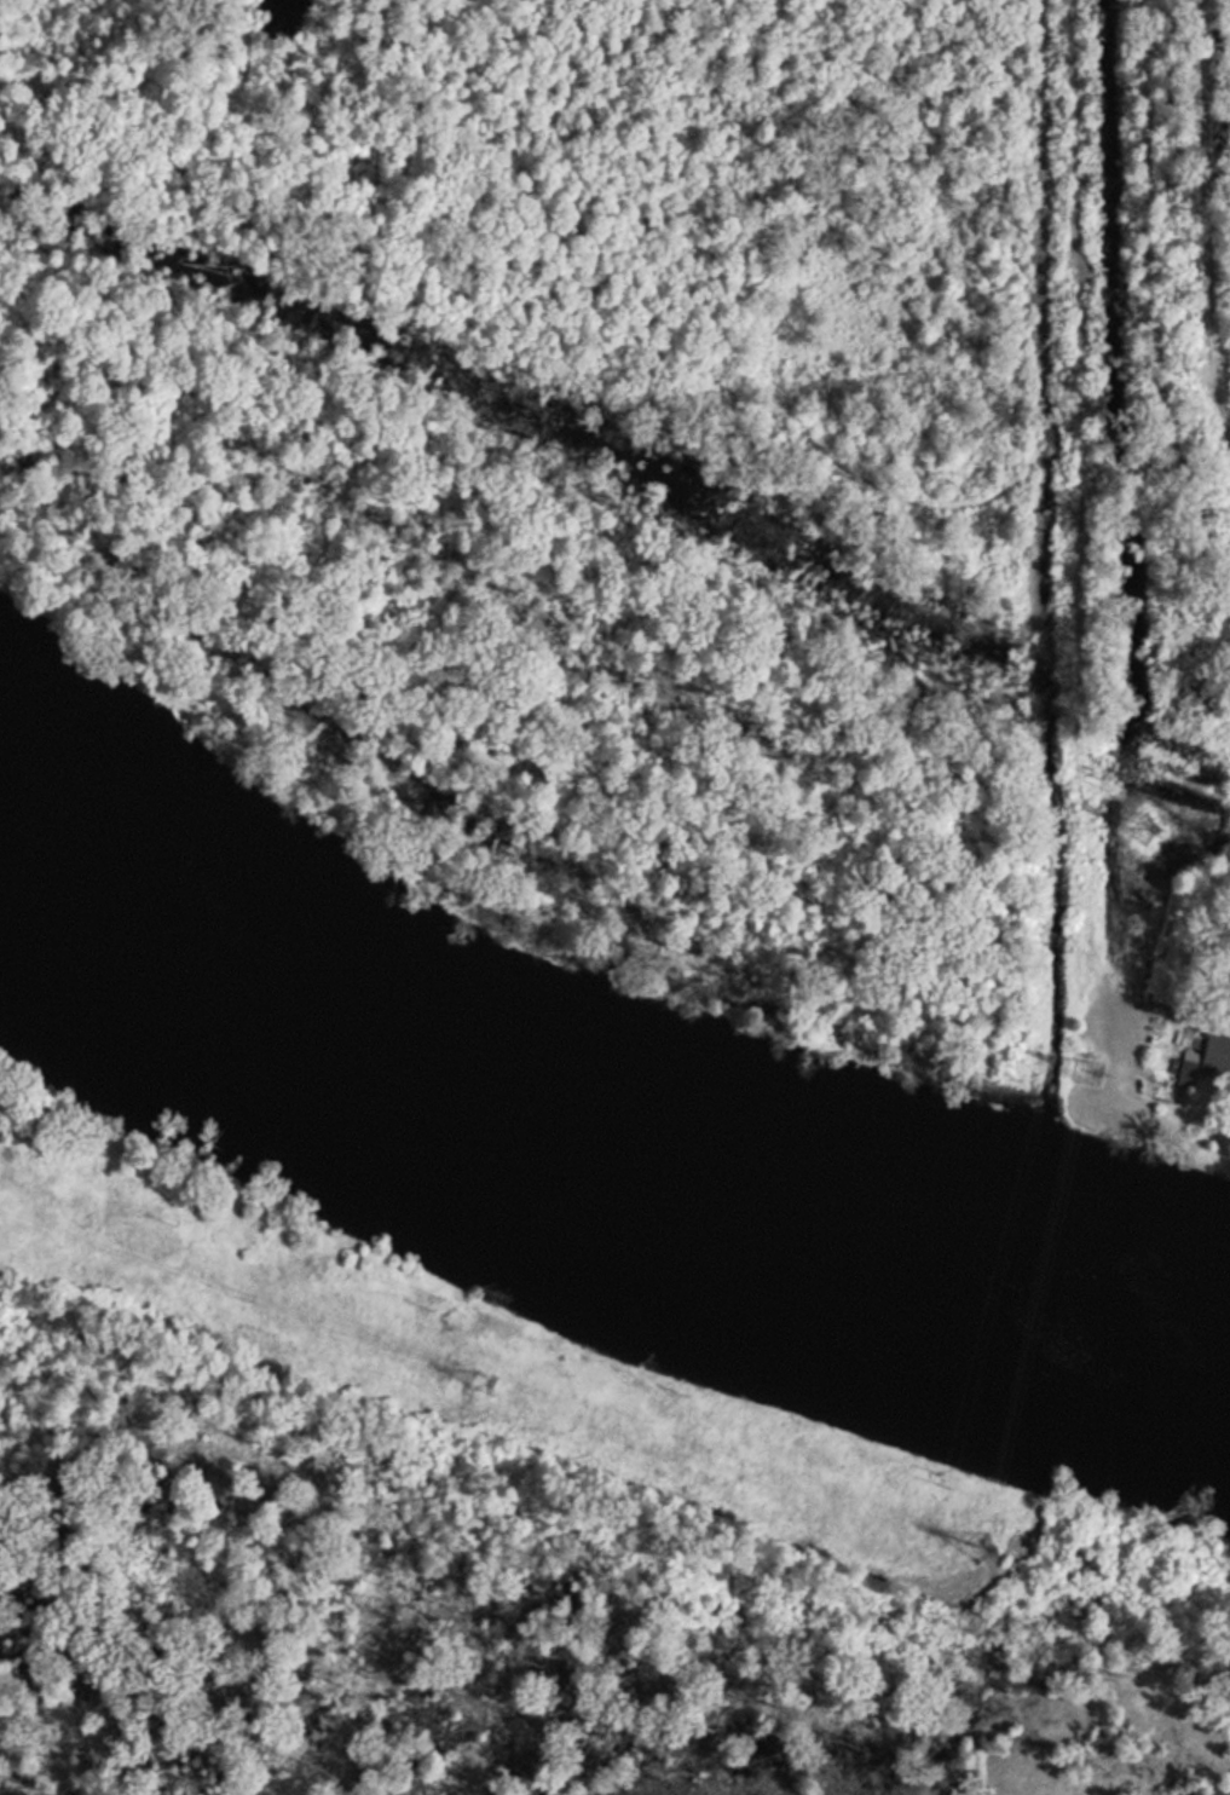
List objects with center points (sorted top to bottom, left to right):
road: (1154, 307)
park: (560, 457)
road: (1079, 567)
power tower: (1145, 829)
building: (1212, 1060)
river: (589, 1156)
road: (438, 1341)
power tower: (483, 1381)
power tower: (983, 1548)

